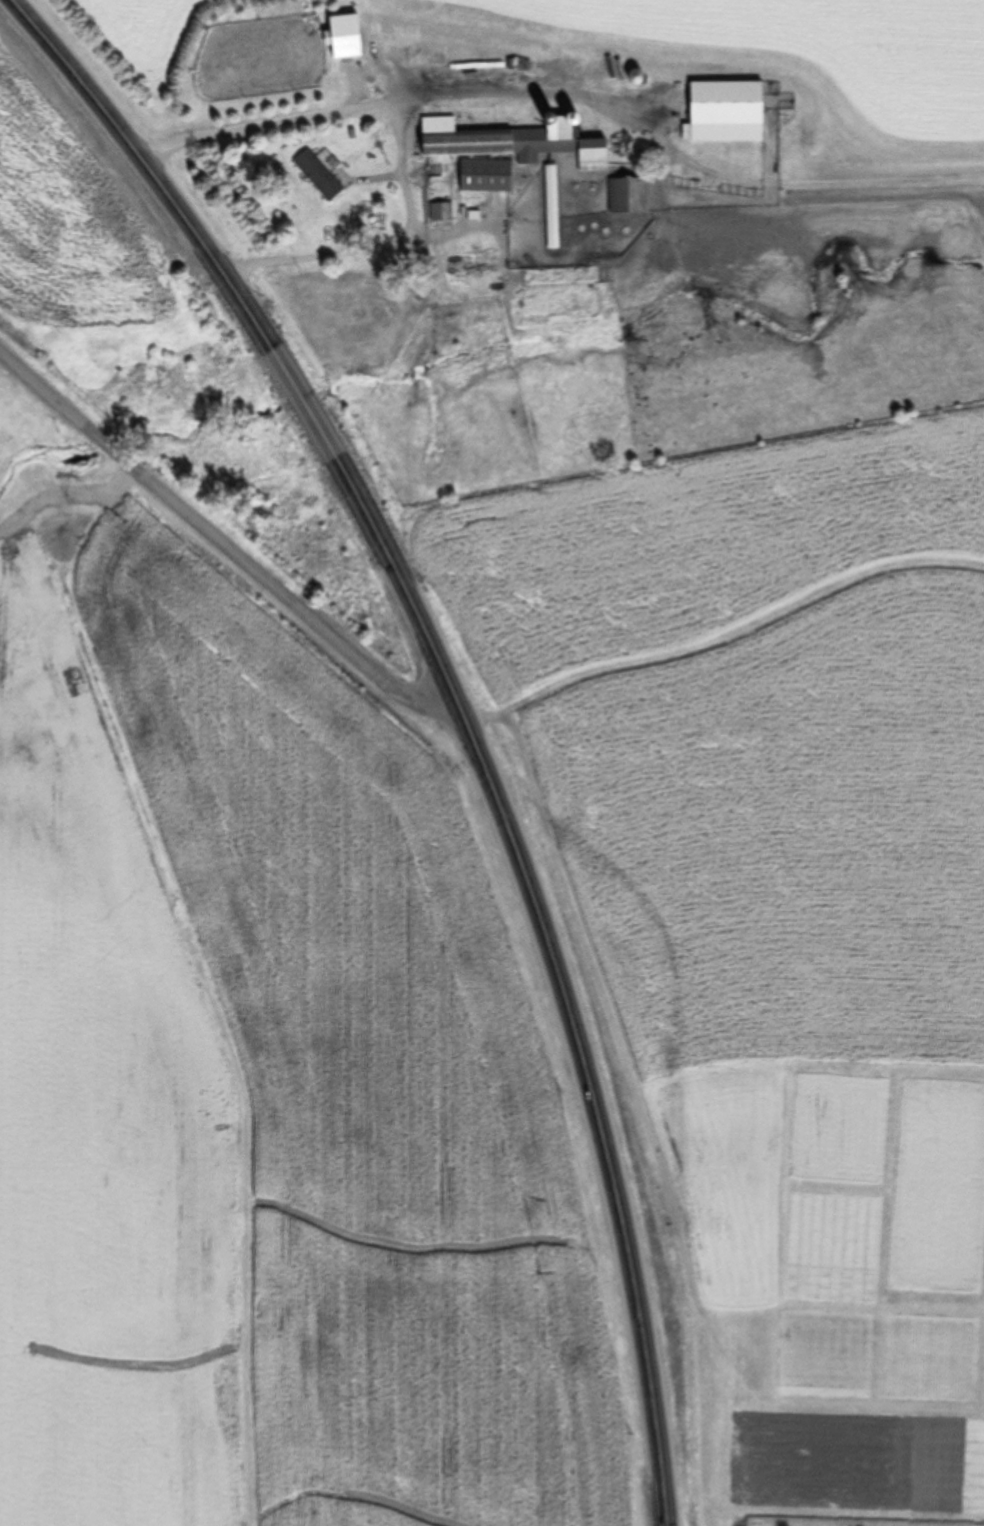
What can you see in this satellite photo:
building: (343, 36)
road: (522, 95)
building: (724, 111)
road: (404, 140)
building: (513, 141)
building: (317, 175)
building: (484, 176)
building: (626, 195)
building: (551, 207)
road: (221, 542)
road: (459, 710)

